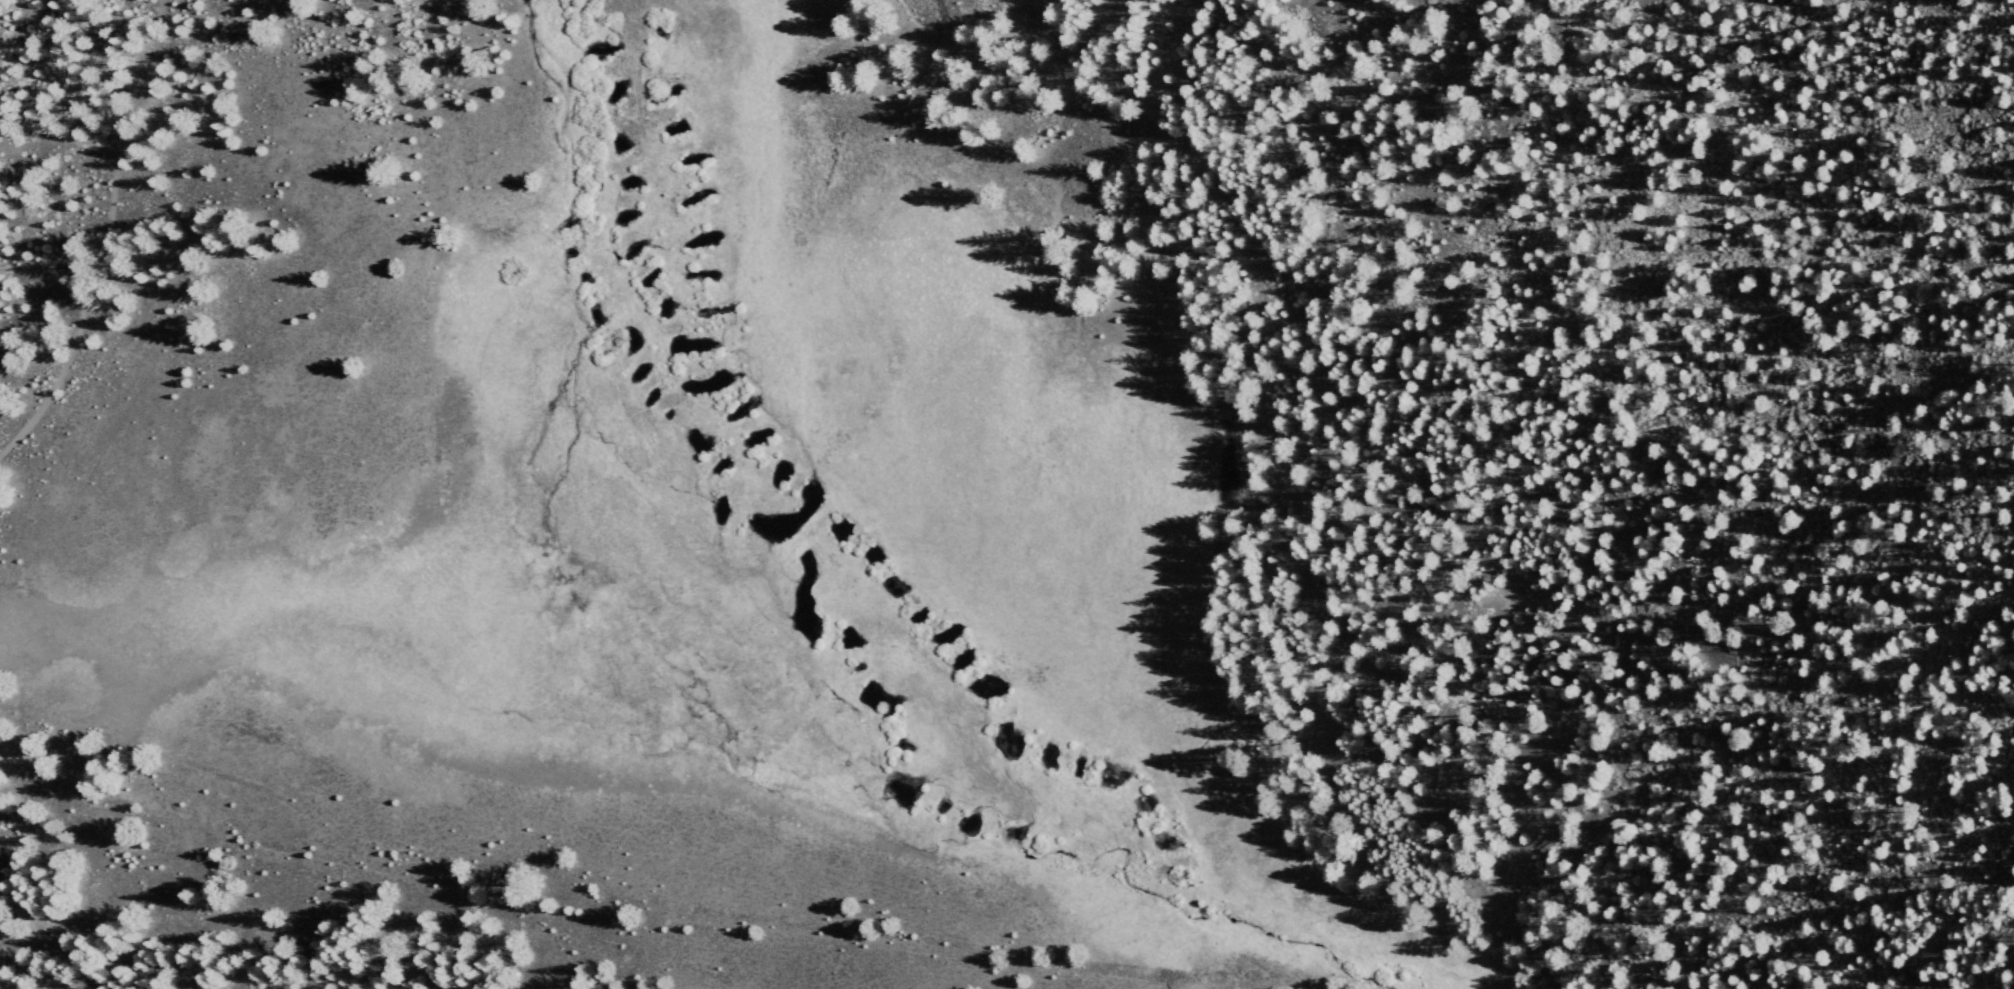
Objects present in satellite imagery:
road: (110, 238)

